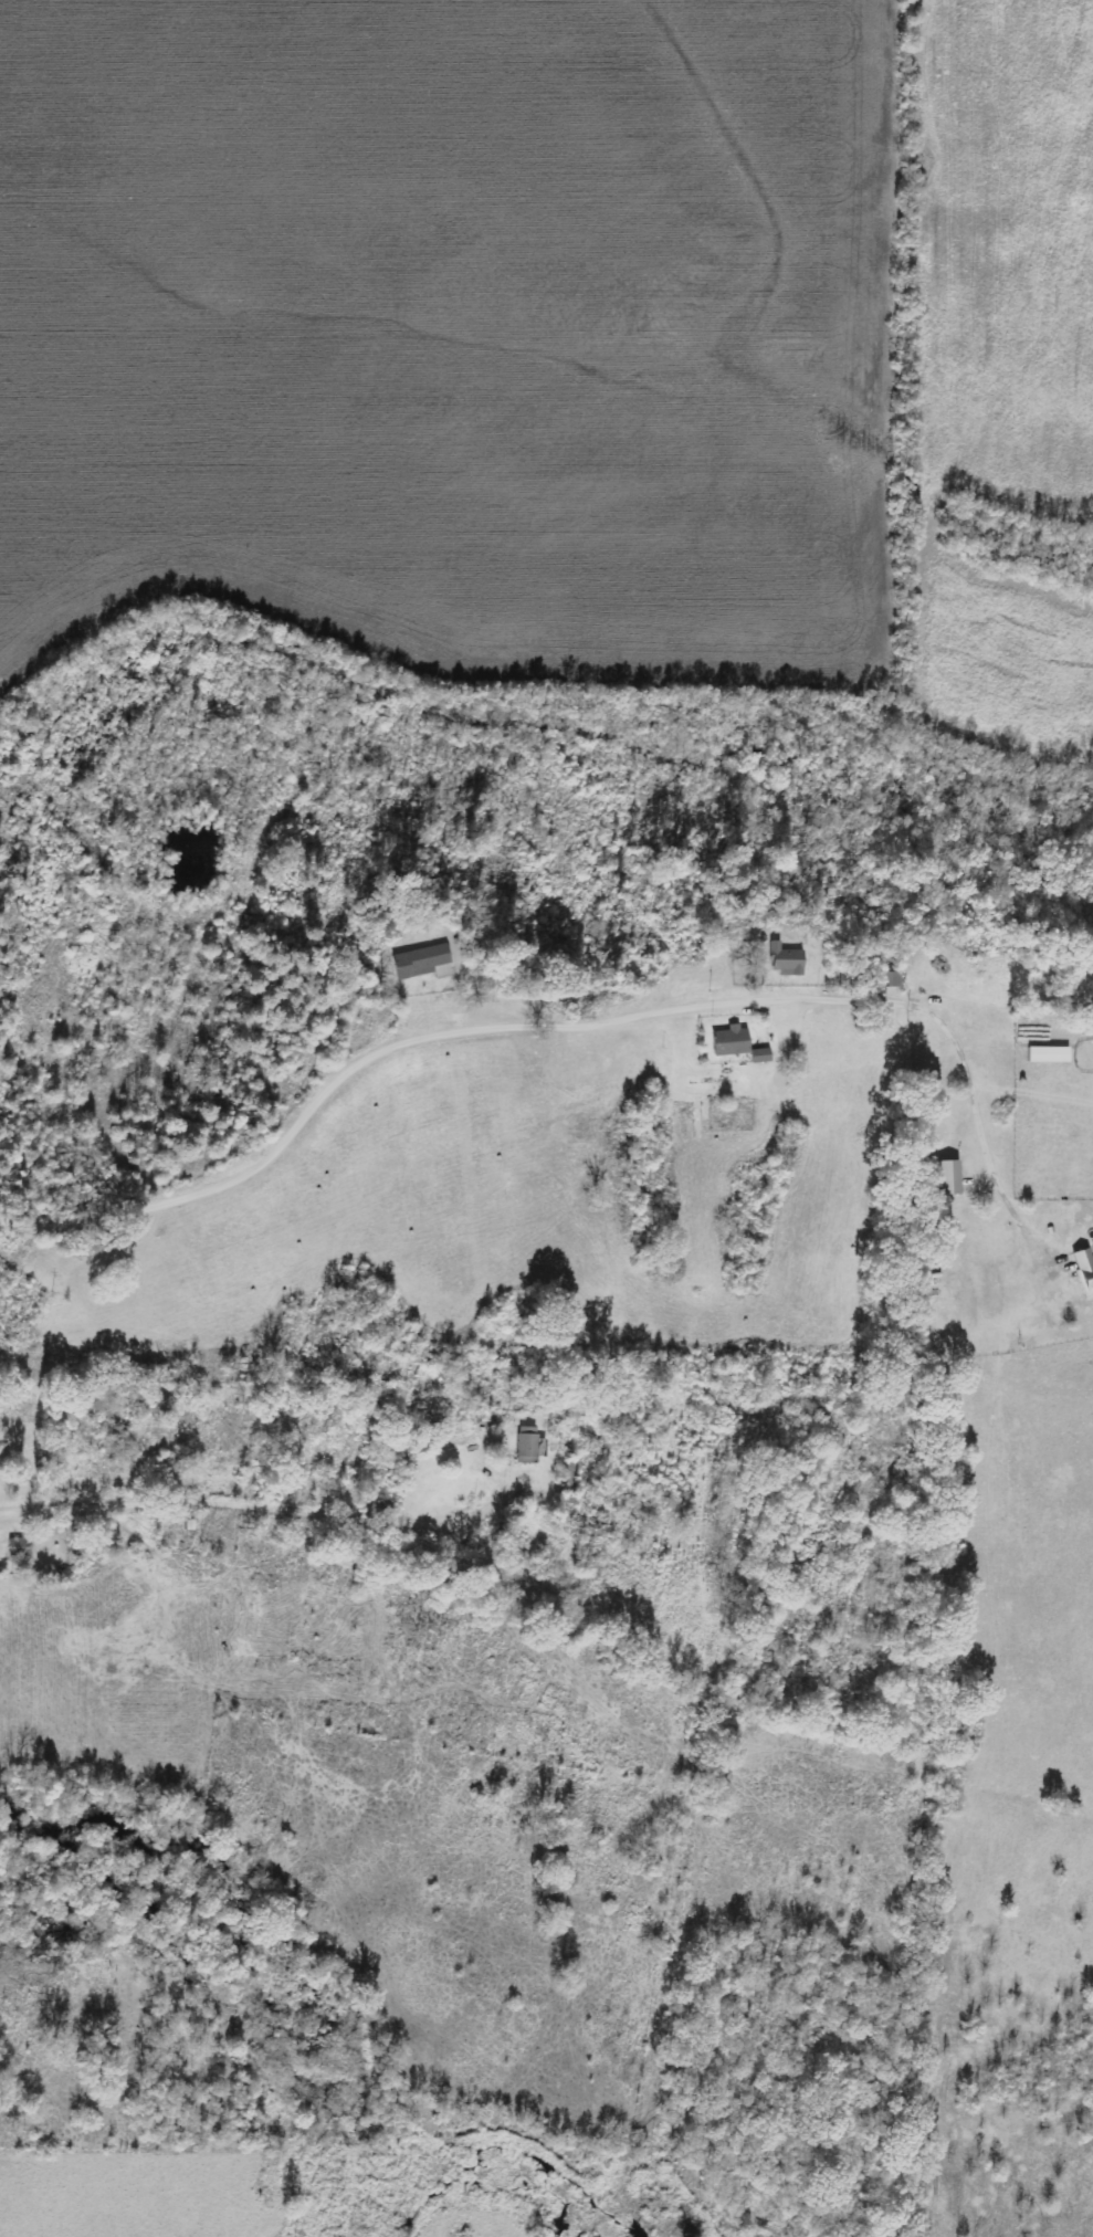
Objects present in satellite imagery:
road: (15, 434)
building: (786, 958)
building: (421, 962)
building: (729, 1041)
building: (1049, 1053)
building: (760, 1054)
road: (294, 1134)
building: (947, 1177)
building: (1083, 1270)
building: (526, 1443)
road: (180, 1467)
road: (255, 1519)

